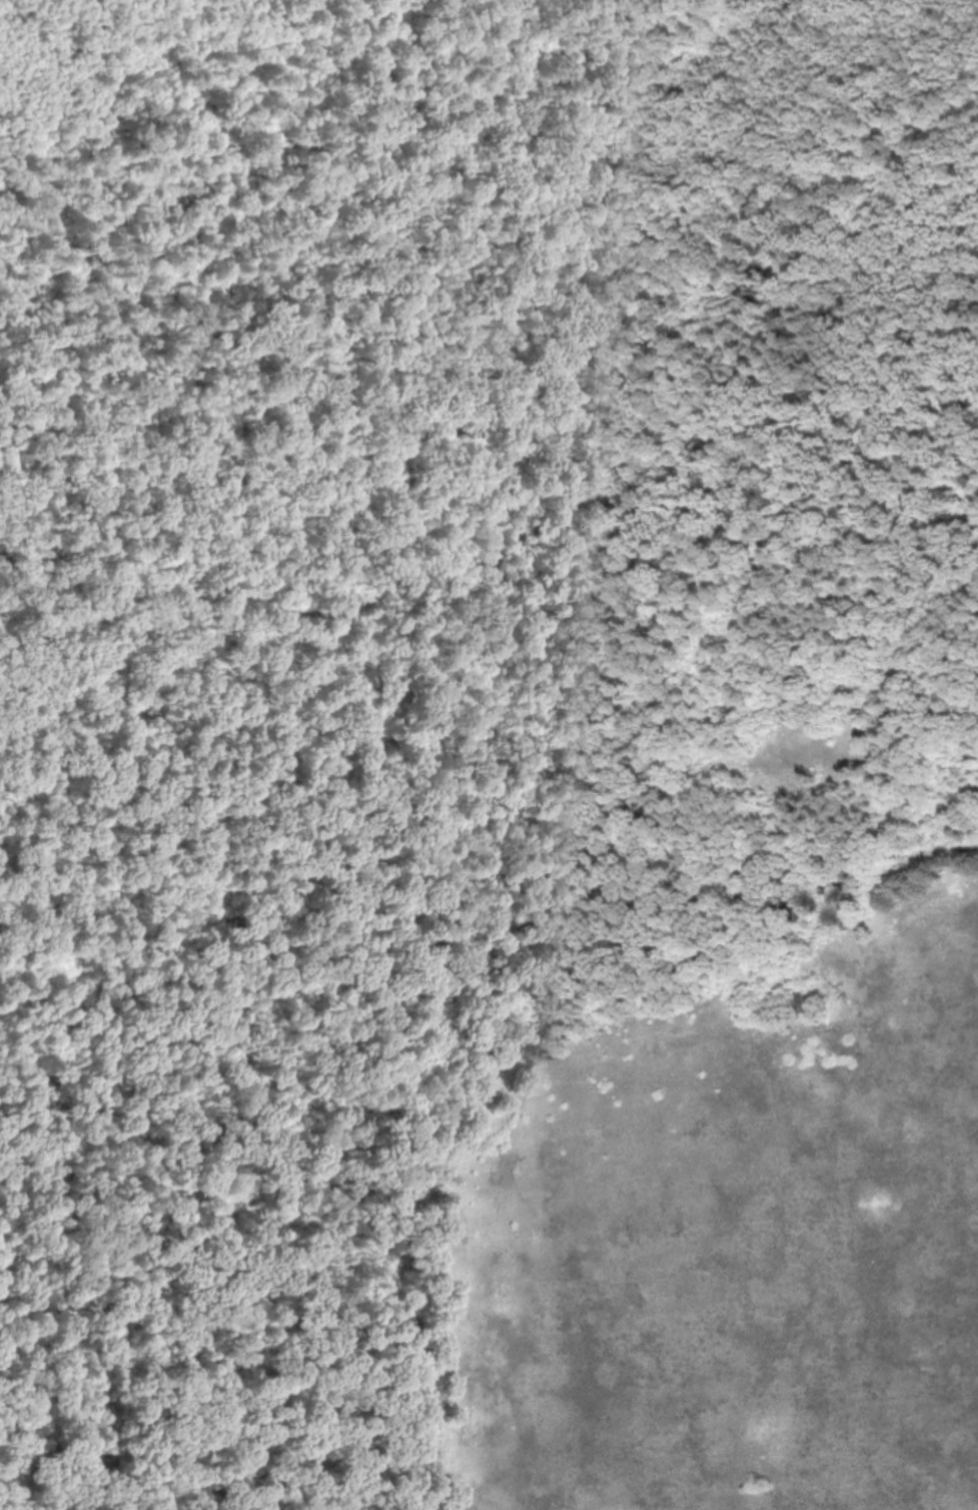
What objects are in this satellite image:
road: (322, 640)
park: (489, 755)

